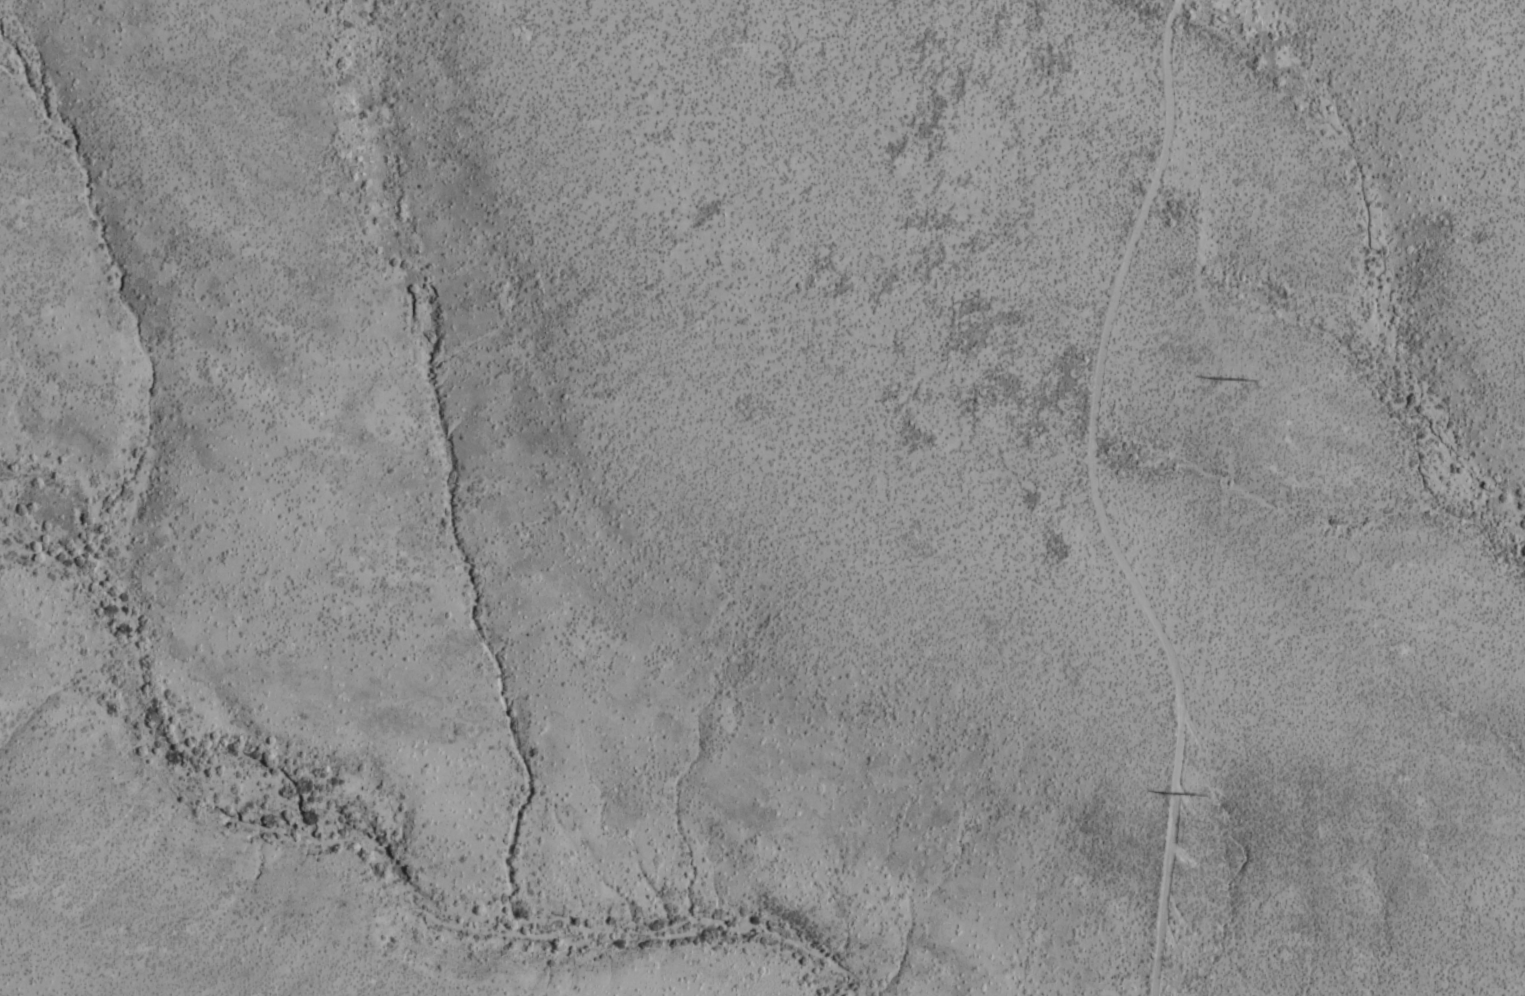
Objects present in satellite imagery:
power tower: (1247, 377)
road: (1093, 499)
power tower: (1197, 796)

